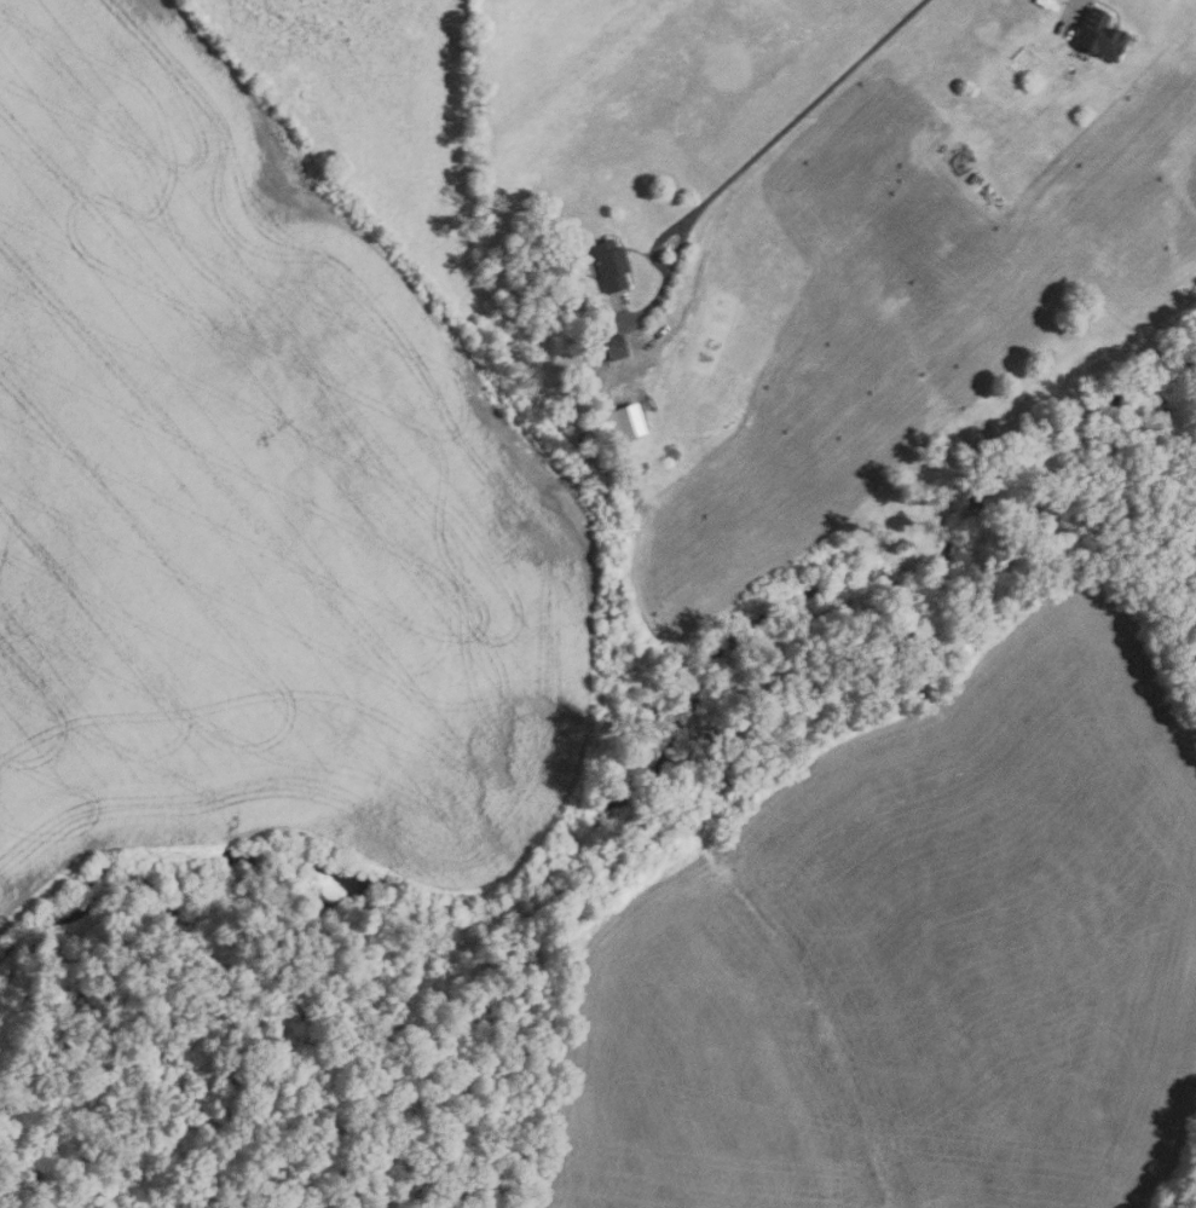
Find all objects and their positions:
road: (1074, 4)
building: (1096, 36)
road: (805, 110)
building: (613, 265)
road: (659, 265)
building: (617, 347)
building: (626, 423)

